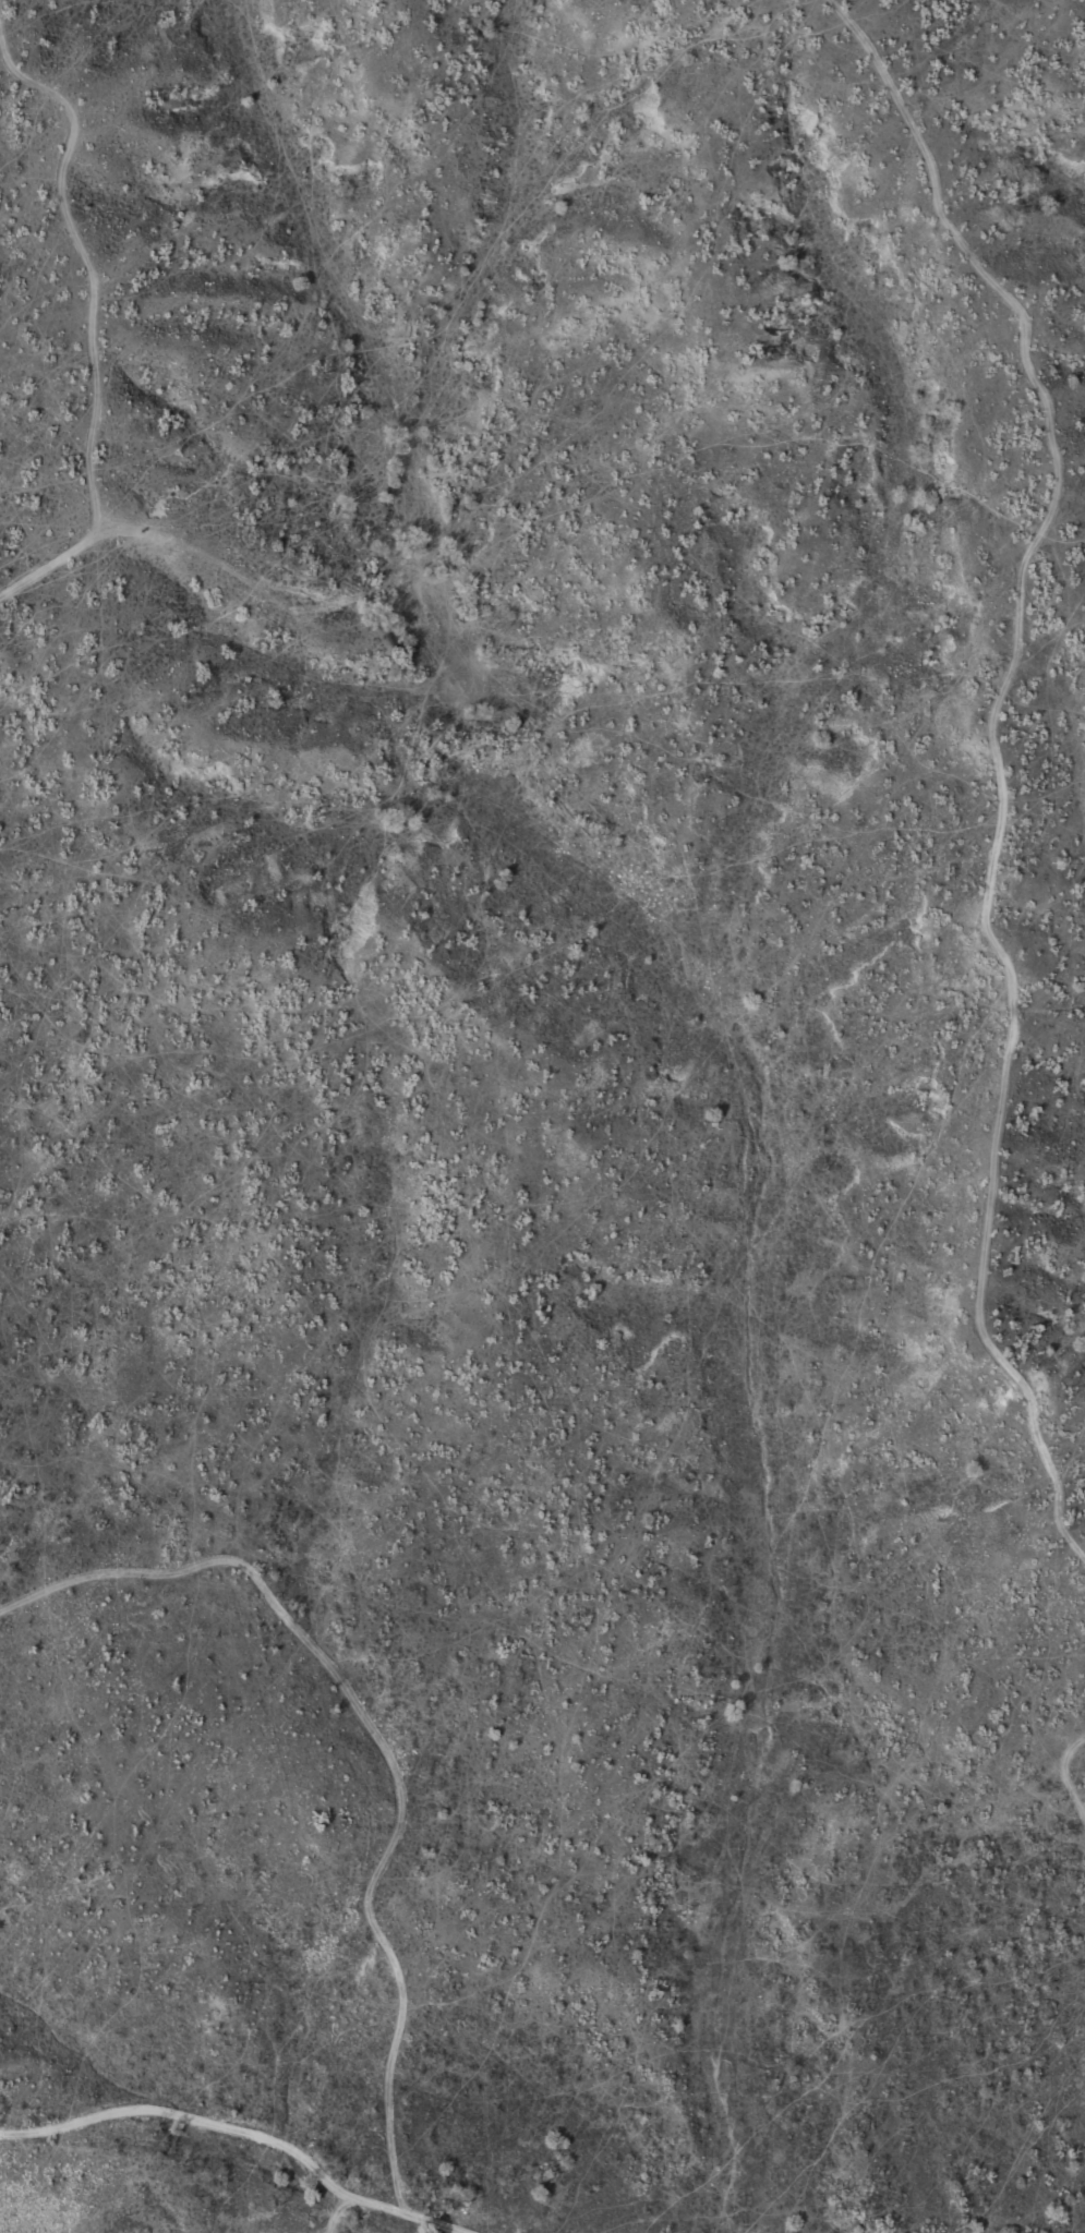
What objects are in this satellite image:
road: (250, 2160)

